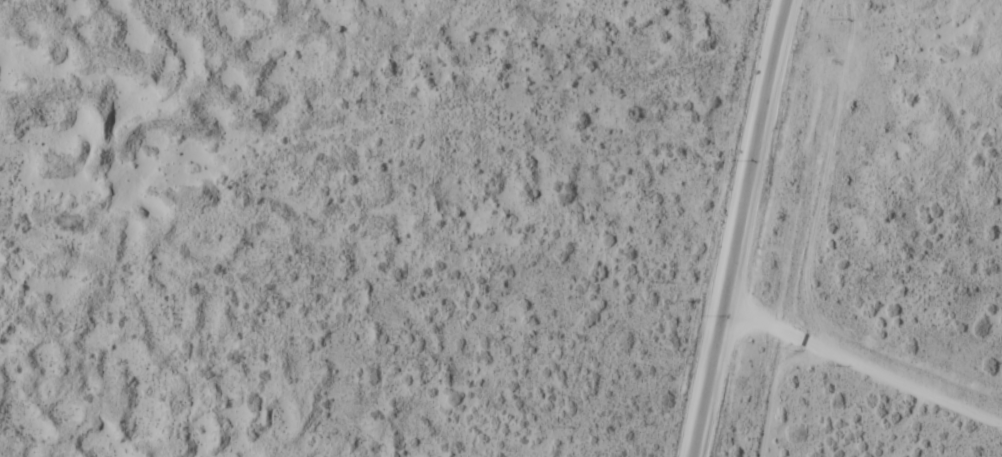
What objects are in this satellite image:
road: (737, 228)
road: (862, 364)

